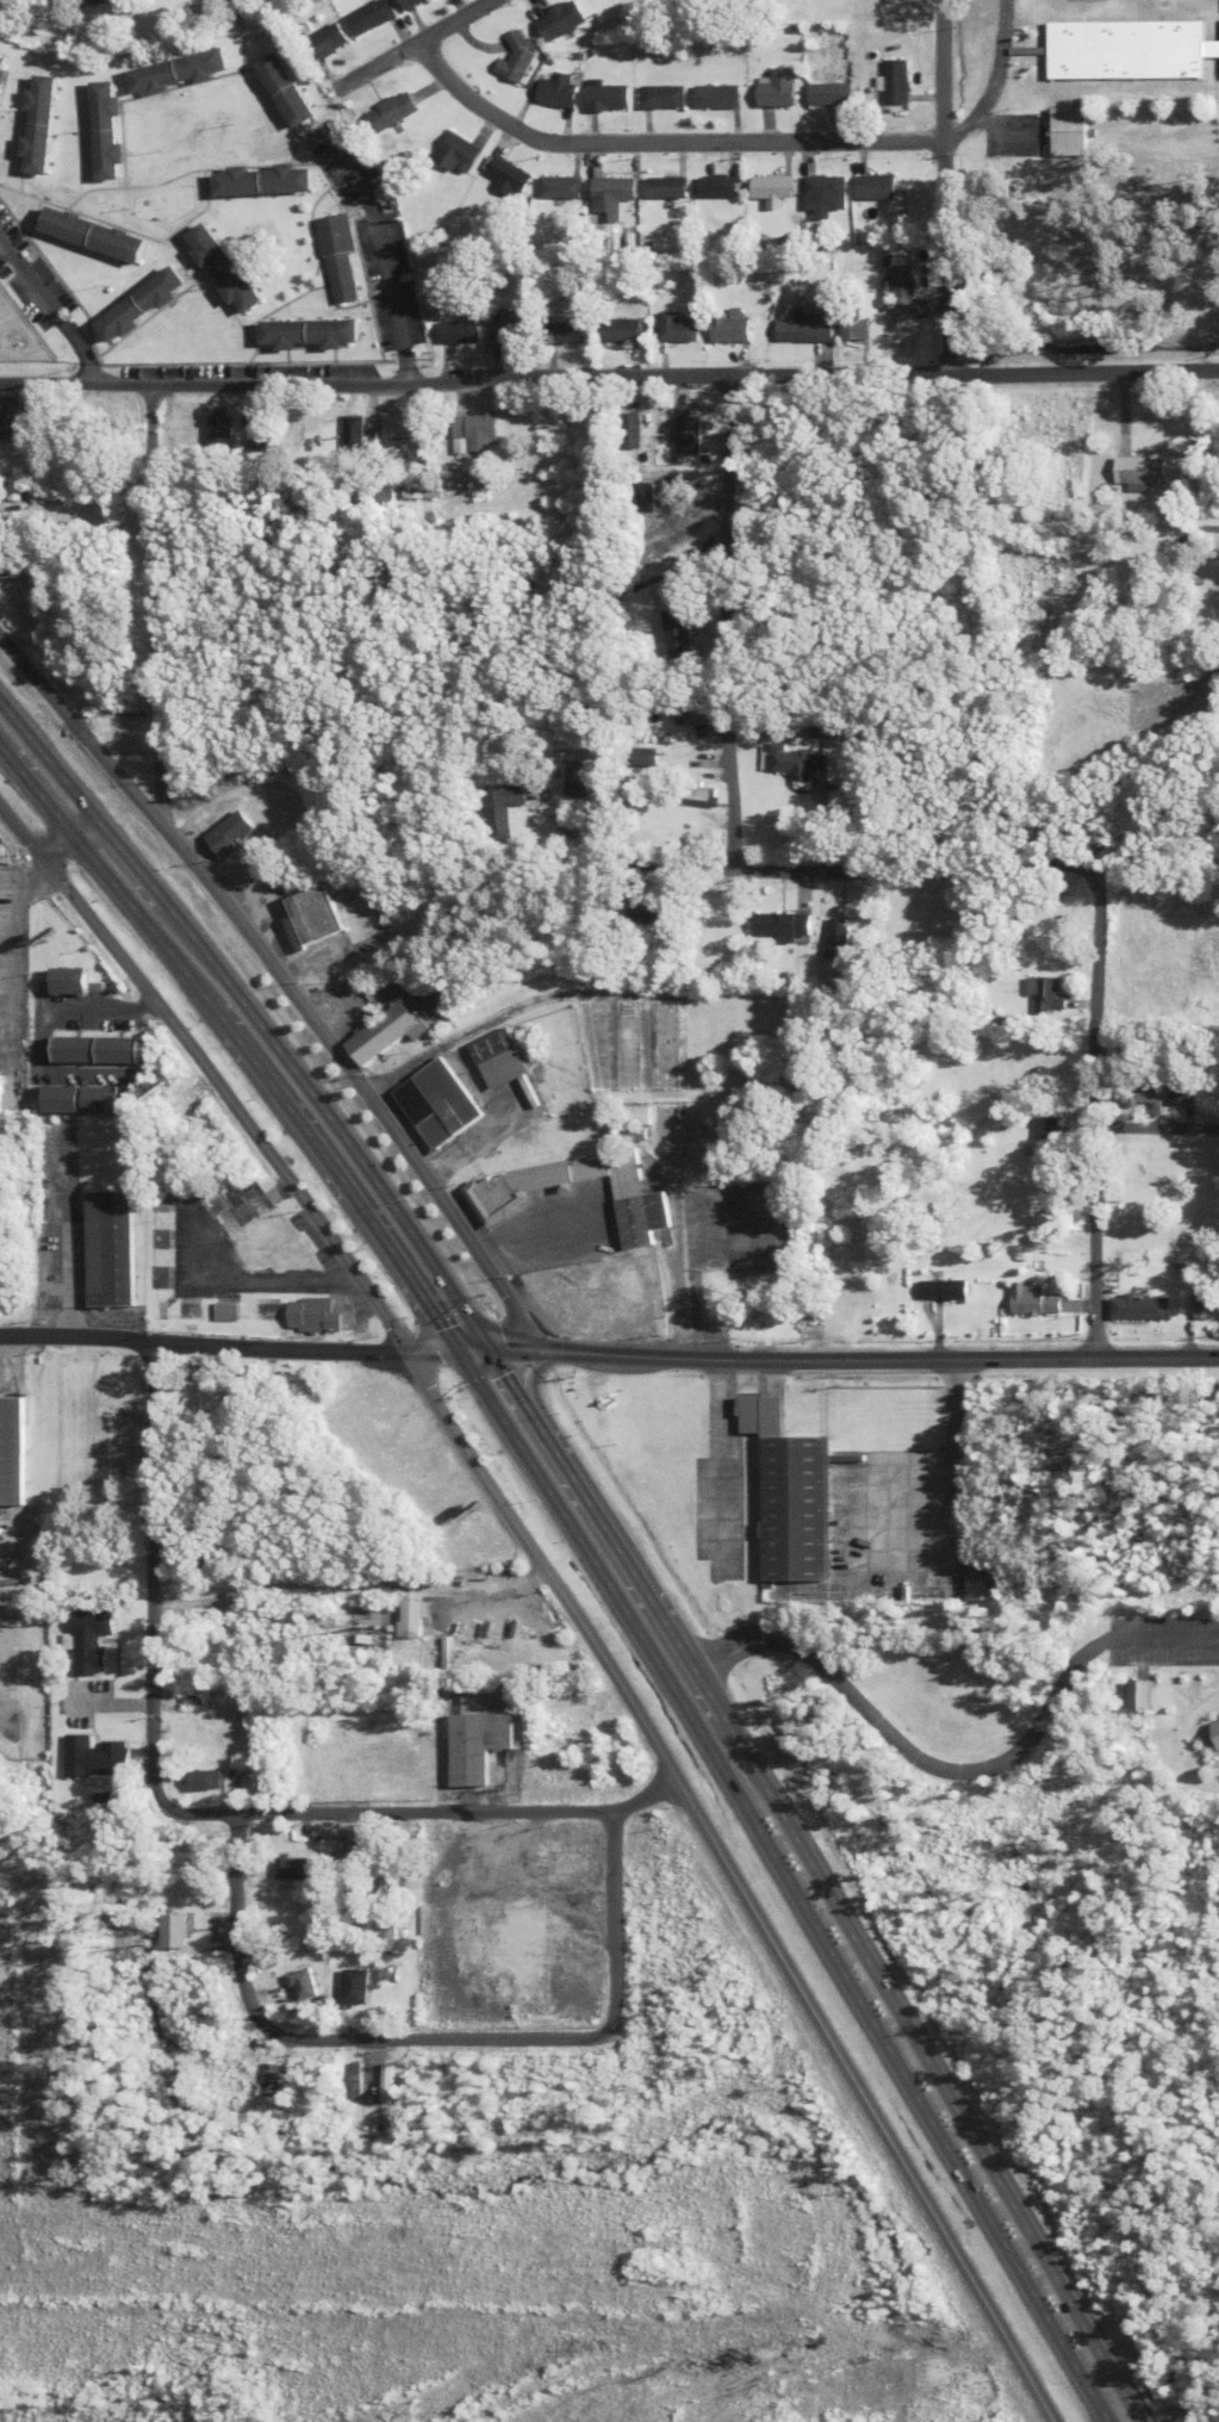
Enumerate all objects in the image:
building: (48, 0)
building: (95, 1)
building: (409, 2)
building: (622, 2)
building: (371, 17)
building: (562, 21)
building: (325, 43)
road: (412, 45)
building: (1127, 49)
building: (520, 60)
building: (2, 68)
building: (179, 74)
road: (996, 80)
building: (902, 82)
building: (784, 89)
building: (287, 91)
building: (559, 91)
building: (836, 95)
building: (721, 97)
building: (609, 98)
building: (664, 98)
building: (392, 112)
building: (39, 125)
parking lot: (1218, 130)
building: (107, 131)
building: (1071, 131)
road: (660, 142)
building: (509, 179)
building: (266, 180)
building: (716, 187)
building: (879, 187)
building: (558, 188)
building: (664, 188)
road: (941, 188)
building: (772, 190)
building: (609, 195)
building: (826, 195)
building: (93, 235)
road: (378, 257)
building: (337, 260)
building: (224, 269)
building: (898, 293)
building: (141, 306)
road: (48, 321)
building: (851, 324)
building: (505, 327)
building: (724, 328)
building: (800, 328)
building: (672, 329)
building: (459, 330)
building: (617, 331)
building: (568, 333)
building: (311, 334)
road: (609, 378)
building: (6, 420)
building: (408, 427)
building: (174, 429)
building: (628, 430)
building: (217, 431)
building: (479, 431)
building: (256, 433)
building: (683, 433)
building: (355, 437)
building: (1138, 471)
building: (640, 497)
road: (1209, 529)
building: (1215, 580)
road: (143, 603)
road: (723, 625)
building: (674, 638)
building: (690, 713)
building: (816, 727)
building: (642, 757)
building: (792, 762)
building: (574, 778)
building: (495, 808)
building: (218, 833)
road: (62, 842)
road: (91, 871)
road: (864, 874)
building: (640, 913)
building: (306, 917)
building: (777, 926)
building: (833, 939)
road: (6, 946)
building: (592, 979)
building: (66, 981)
building: (447, 988)
road: (279, 990)
building: (1046, 994)
road: (243, 1027)
road: (466, 1027)
building: (375, 1033)
building: (1133, 1044)
building: (620, 1045)
building: (659, 1045)
building: (587, 1047)
building: (91, 1050)
building: (492, 1058)
building: (1047, 1068)
road: (201, 1081)
building: (1183, 1085)
building: (1145, 1092)
building: (56, 1099)
building: (95, 1100)
building: (429, 1104)
road: (1094, 1117)
building: (629, 1123)
building: (1051, 1126)
road: (1156, 1129)
road: (312, 1167)
building: (490, 1198)
building: (262, 1244)
building: (101, 1249)
road: (667, 1252)
building: (618, 1287)
building: (949, 1290)
building: (1031, 1299)
building: (549, 1302)
gas station: (549, 1302)
building: (1204, 1304)
building: (1139, 1308)
building: (216, 1311)
building: (301, 1316)
road: (197, 1344)
traffic signals: (444, 1349)
road: (460, 1349)
traffic signals: (477, 1349)
road: (504, 1349)
road: (419, 1350)
road: (875, 1360)
road: (520, 1374)
road: (497, 1377)
building: (185, 1398)
building: (380, 1416)
building: (8, 1451)
road: (953, 1461)
road: (720, 1468)
building: (794, 1493)
building: (471, 1539)
building: (167, 1555)
road: (626, 1570)
building: (995, 1579)
road: (340, 1585)
building: (404, 1619)
road: (773, 1637)
road: (1168, 1639)
building: (82, 1640)
building: (1158, 1695)
building: (185, 1696)
building: (471, 1729)
building: (181, 1737)
building: (88, 1757)
road: (954, 1770)
building: (198, 1781)
road: (181, 1811)
building: (350, 1853)
road: (767, 1857)
building: (555, 1862)
building: (284, 1868)
building: (319, 1869)
road: (730, 1882)
building: (172, 1932)
building: (381, 1933)
building: (504, 1942)
building: (384, 1975)
building: (281, 1979)
building: (350, 1987)
road: (434, 2039)
building: (267, 2080)
building: (354, 2081)
road: (934, 2081)
building: (384, 2083)
road: (1094, 2397)

